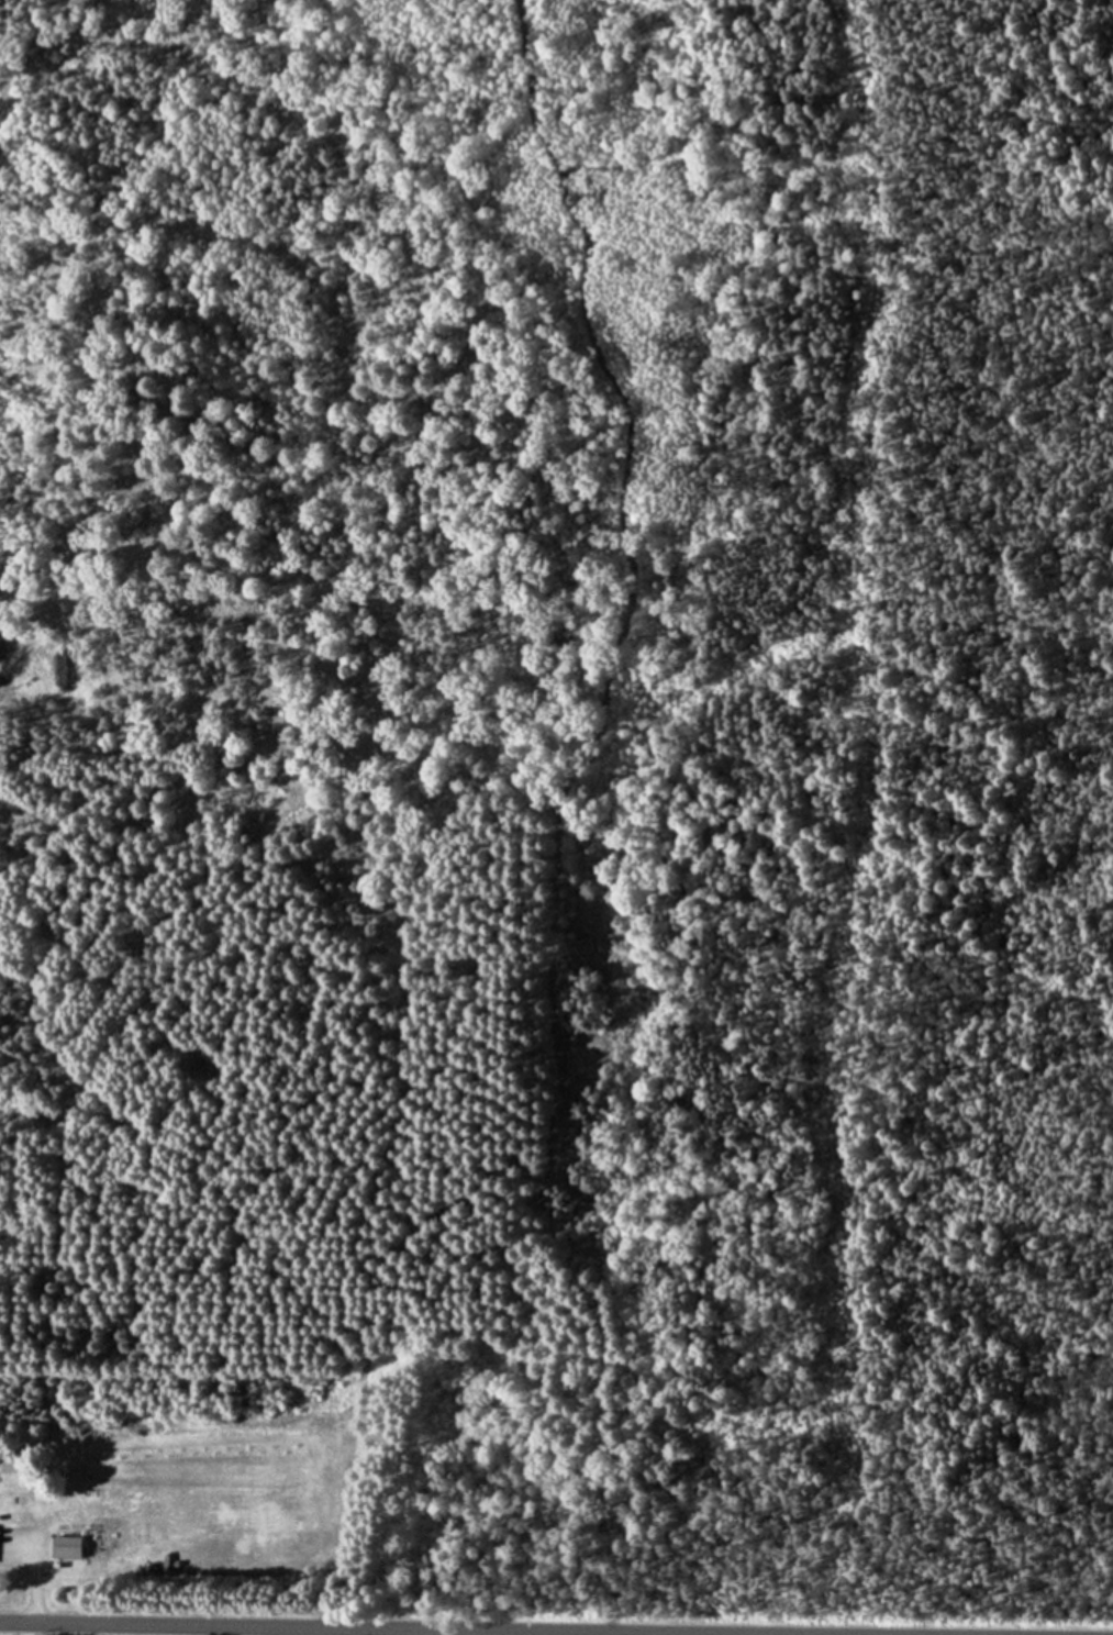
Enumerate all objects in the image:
building: (62, 1547)
road: (421, 1628)

